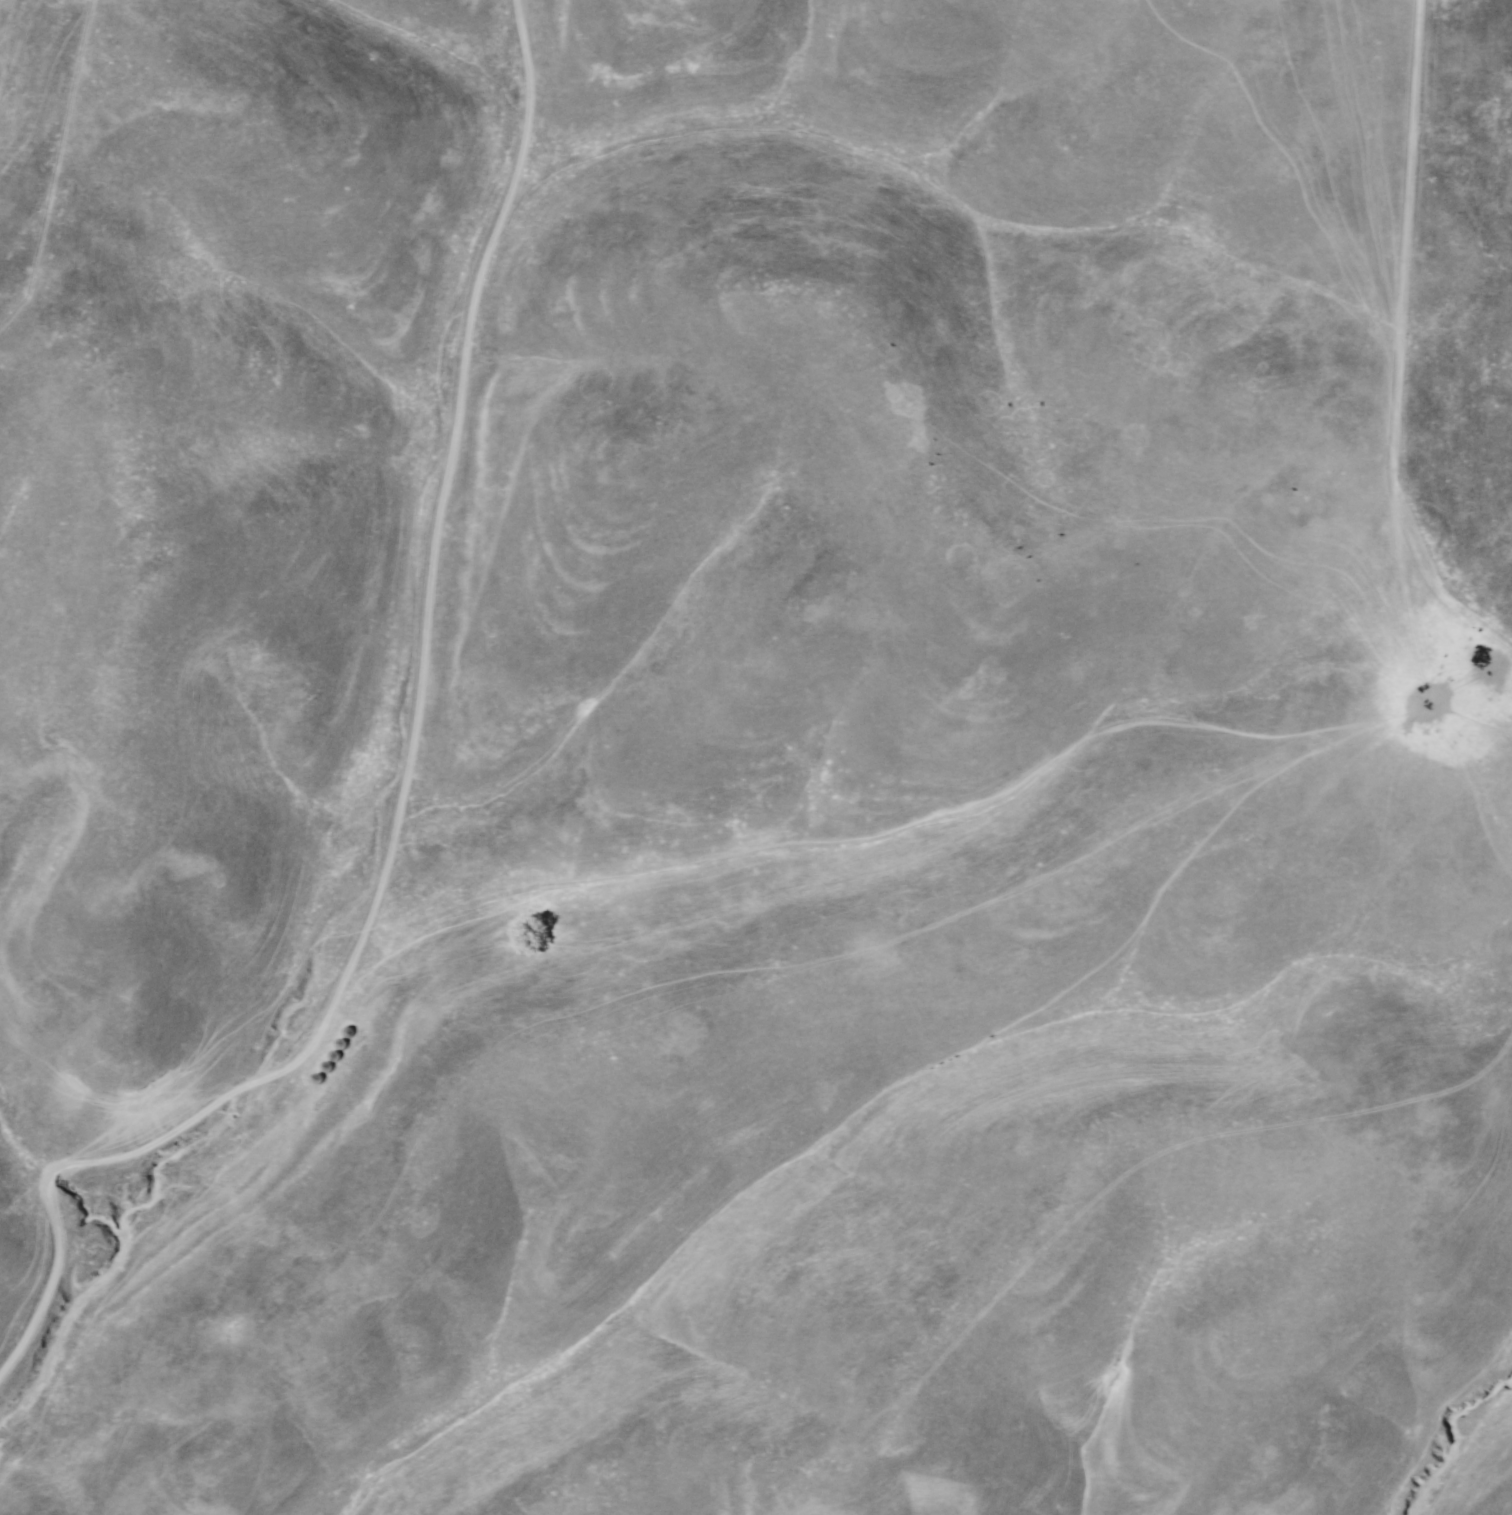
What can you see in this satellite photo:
road: (1396, 344)
road: (402, 771)

